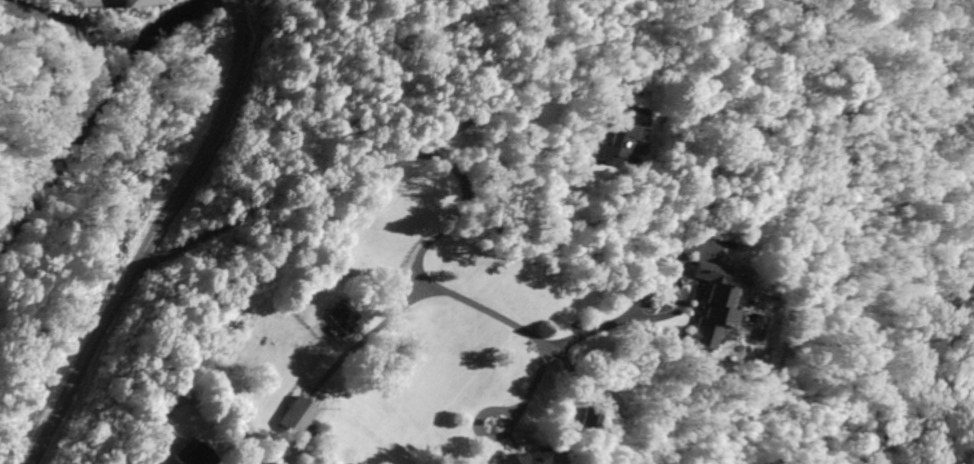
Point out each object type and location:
building: (136, 2)
road: (228, 4)
road: (526, 101)
building: (612, 143)
road: (426, 157)
road: (151, 239)
road: (639, 300)
building: (711, 304)
road: (674, 309)
building: (340, 318)
road: (359, 341)
road: (534, 382)
road: (579, 397)
road: (480, 416)
building: (298, 417)
building: (593, 418)
building: (191, 456)
building: (528, 458)

